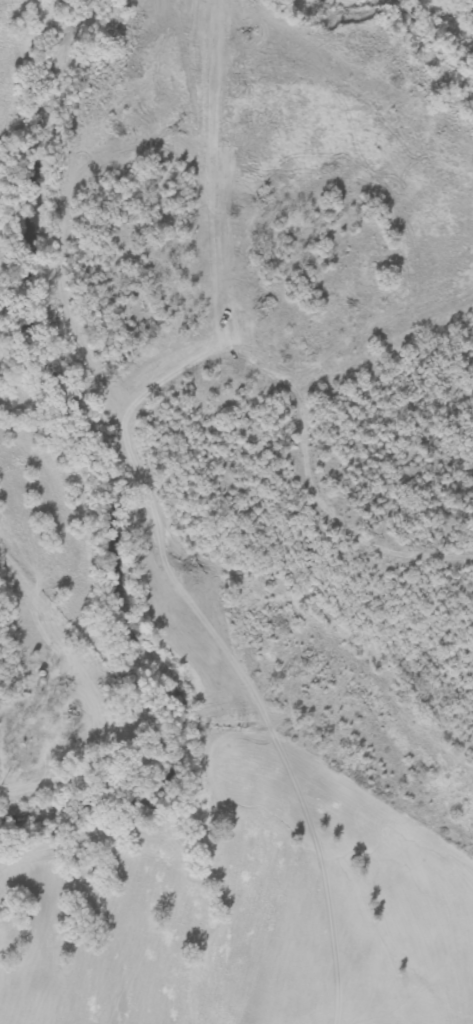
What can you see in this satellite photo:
road: (2, 793)

